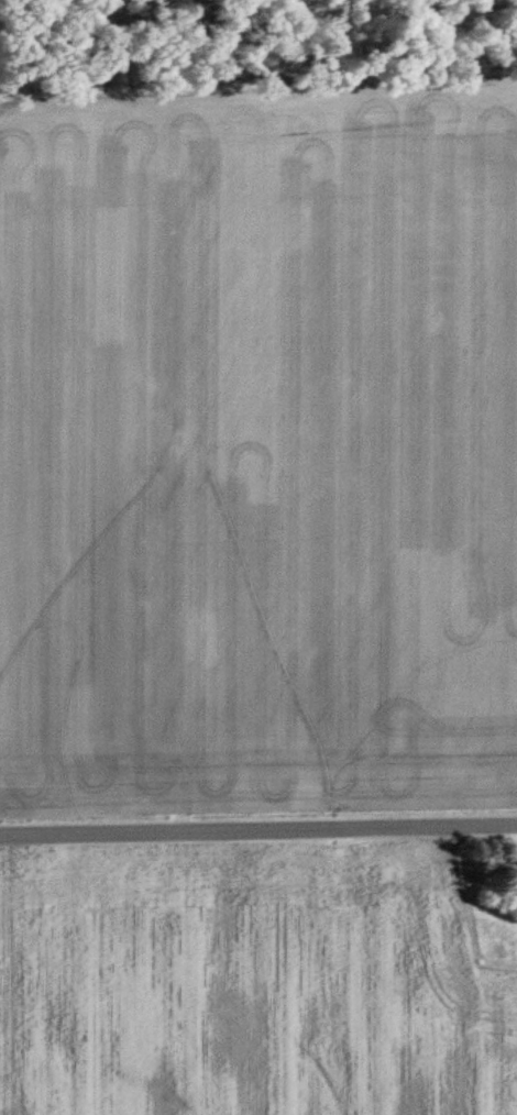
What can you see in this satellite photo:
road: (258, 828)
building: (512, 880)

